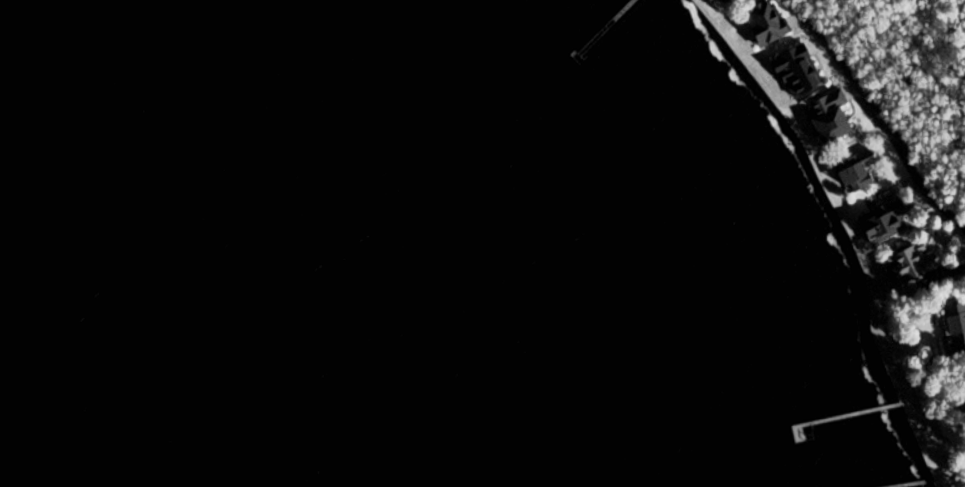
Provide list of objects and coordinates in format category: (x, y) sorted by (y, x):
building: (770, 22)
building: (801, 70)
road: (878, 112)
building: (834, 115)
building: (860, 171)
building: (889, 222)
building: (916, 262)
building: (956, 329)

